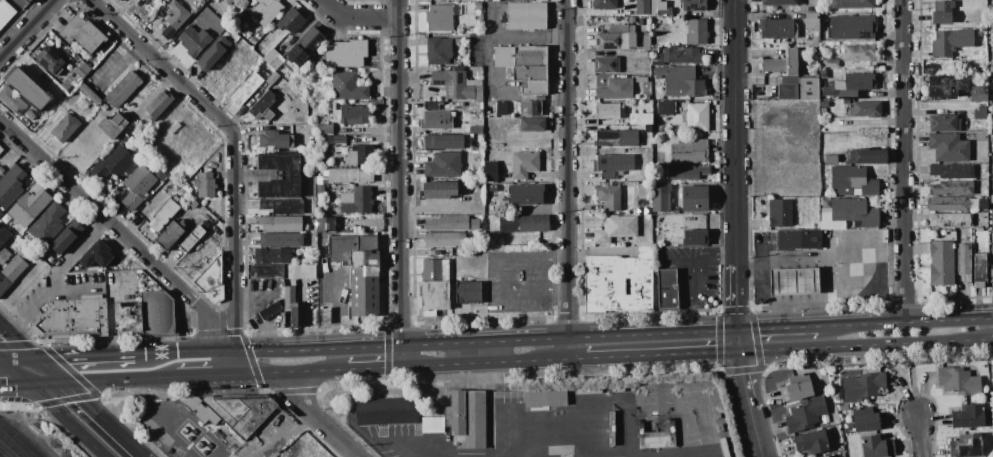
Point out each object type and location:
building: (115, 0)
building: (486, 0)
building: (27, 1)
building: (228, 2)
building: (777, 2)
building: (603, 4)
building: (852, 4)
building: (477, 6)
building: (692, 6)
building: (642, 7)
building: (659, 7)
building: (652, 8)
building: (266, 11)
building: (665, 11)
building: (941, 12)
building: (5, 13)
building: (526, 16)
building: (441, 17)
building: (174, 18)
road: (359, 19)
building: (636, 20)
building: (290, 21)
building: (811, 22)
building: (851, 28)
building: (777, 29)
road: (29, 31)
building: (696, 32)
building: (82, 34)
road: (513, 37)
building: (620, 39)
building: (193, 41)
building: (457, 41)
building: (950, 42)
building: (811, 45)
road: (486, 46)
building: (302, 49)
building: (437, 52)
building: (858, 53)
building: (212, 54)
building: (345, 54)
building: (642, 54)
building: (503, 56)
building: (530, 56)
building: (679, 56)
building: (992, 56)
building: (49, 61)
building: (276, 62)
road: (115, 63)
building: (781, 64)
building: (830, 64)
building: (605, 65)
building: (990, 69)
building: (475, 70)
building: (232, 71)
building: (529, 73)
building: (75, 76)
building: (272, 79)
building: (326, 80)
building: (679, 81)
building: (856, 82)
building: (456, 85)
building: (945, 86)
building: (348, 87)
building: (534, 88)
building: (26, 89)
building: (123, 89)
building: (246, 89)
building: (615, 89)
building: (798, 89)
building: (977, 90)
building: (835, 93)
building: (647, 97)
building: (977, 97)
building: (12, 101)
building: (845, 102)
building: (159, 104)
building: (823, 105)
building: (330, 106)
building: (431, 106)
building: (262, 107)
building: (530, 108)
building: (665, 108)
building: (865, 109)
building: (609, 111)
building: (822, 112)
building: (979, 113)
building: (29, 115)
building: (351, 115)
building: (697, 118)
building: (640, 119)
building: (436, 120)
building: (943, 123)
building: (532, 125)
building: (111, 126)
building: (65, 127)
building: (174, 128)
building: (324, 129)
building: (647, 129)
building: (660, 129)
road: (734, 132)
building: (617, 138)
building: (990, 138)
building: (126, 140)
building: (274, 140)
building: (452, 140)
building: (340, 142)
road: (236, 145)
building: (948, 147)
building: (1, 150)
building: (335, 150)
building: (689, 152)
building: (359, 155)
building: (866, 156)
road: (905, 161)
building: (116, 162)
building: (524, 164)
building: (443, 165)
building: (613, 165)
building: (1, 171)
building: (950, 171)
building: (489, 172)
building: (686, 173)
building: (292, 176)
building: (349, 176)
road: (566, 180)
building: (852, 182)
road: (403, 184)
building: (205, 185)
building: (10, 186)
building: (136, 186)
building: (186, 188)
building: (492, 188)
building: (951, 188)
building: (320, 189)
building: (439, 190)
building: (642, 190)
building: (525, 195)
building: (608, 196)
building: (693, 199)
building: (660, 201)
building: (358, 202)
building: (193, 205)
building: (947, 205)
building: (28, 207)
building: (282, 207)
building: (643, 211)
building: (674, 211)
building: (852, 212)
building: (779, 213)
building: (163, 214)
building: (655, 217)
building: (950, 220)
building: (280, 224)
building: (447, 224)
building: (474, 224)
building: (523, 224)
building: (47, 225)
building: (325, 225)
building: (305, 227)
building: (615, 229)
road: (120, 230)
building: (355, 230)
building: (169, 234)
building: (66, 236)
building: (5, 237)
building: (694, 238)
building: (190, 239)
building: (798, 239)
building: (280, 240)
building: (444, 240)
building: (3, 255)
building: (95, 256)
building: (271, 256)
road: (673, 261)
building: (963, 262)
building: (941, 263)
building: (14, 267)
building: (991, 268)
building: (358, 270)
building: (434, 270)
building: (979, 270)
building: (281, 272)
road: (57, 275)
road: (503, 275)
road: (689, 275)
building: (211, 281)
building: (794, 282)
building: (3, 284)
building: (616, 284)
building: (666, 288)
building: (467, 292)
parking lot: (333, 295)
building: (433, 297)
road: (738, 298)
building: (289, 308)
building: (270, 310)
building: (156, 312)
road: (332, 314)
road: (223, 317)
building: (73, 318)
building: (128, 318)
road: (905, 323)
road: (4, 328)
road: (779, 329)
traffic signals: (742, 331)
road: (743, 342)
road: (438, 343)
road: (23, 345)
road: (868, 348)
traffic signals: (744, 354)
road: (85, 355)
road: (664, 357)
road: (1, 359)
traffic signals: (38, 359)
road: (20, 360)
road: (1, 361)
traffic signals: (3, 361)
road: (229, 364)
road: (495, 364)
road: (372, 369)
road: (51, 371)
road: (284, 372)
road: (15, 373)
road: (202, 377)
road: (120, 381)
building: (958, 381)
road: (749, 382)
traffic signals: (65, 384)
road: (46, 385)
road: (14, 386)
traffic signals: (28, 386)
building: (698, 386)
building: (862, 387)
building: (800, 388)
building: (617, 390)
building: (588, 391)
building: (837, 395)
building: (545, 398)
building: (843, 407)
building: (198, 410)
building: (386, 412)
building: (167, 413)
building: (241, 413)
building: (805, 415)
building: (159, 416)
building: (970, 417)
building: (466, 418)
building: (173, 419)
building: (868, 419)
road: (104, 420)
road: (319, 420)
road: (66, 421)
building: (167, 423)
building: (432, 425)
building: (719, 429)
road: (505, 430)
road: (286, 433)
road: (762, 433)
road: (920, 435)
building: (608, 436)
building: (655, 438)
railway: (18, 439)
building: (810, 442)
building: (723, 443)
railway: (10, 446)
building: (876, 446)
building: (966, 446)
road: (397, 451)
railway: (5, 452)
building: (824, 456)

